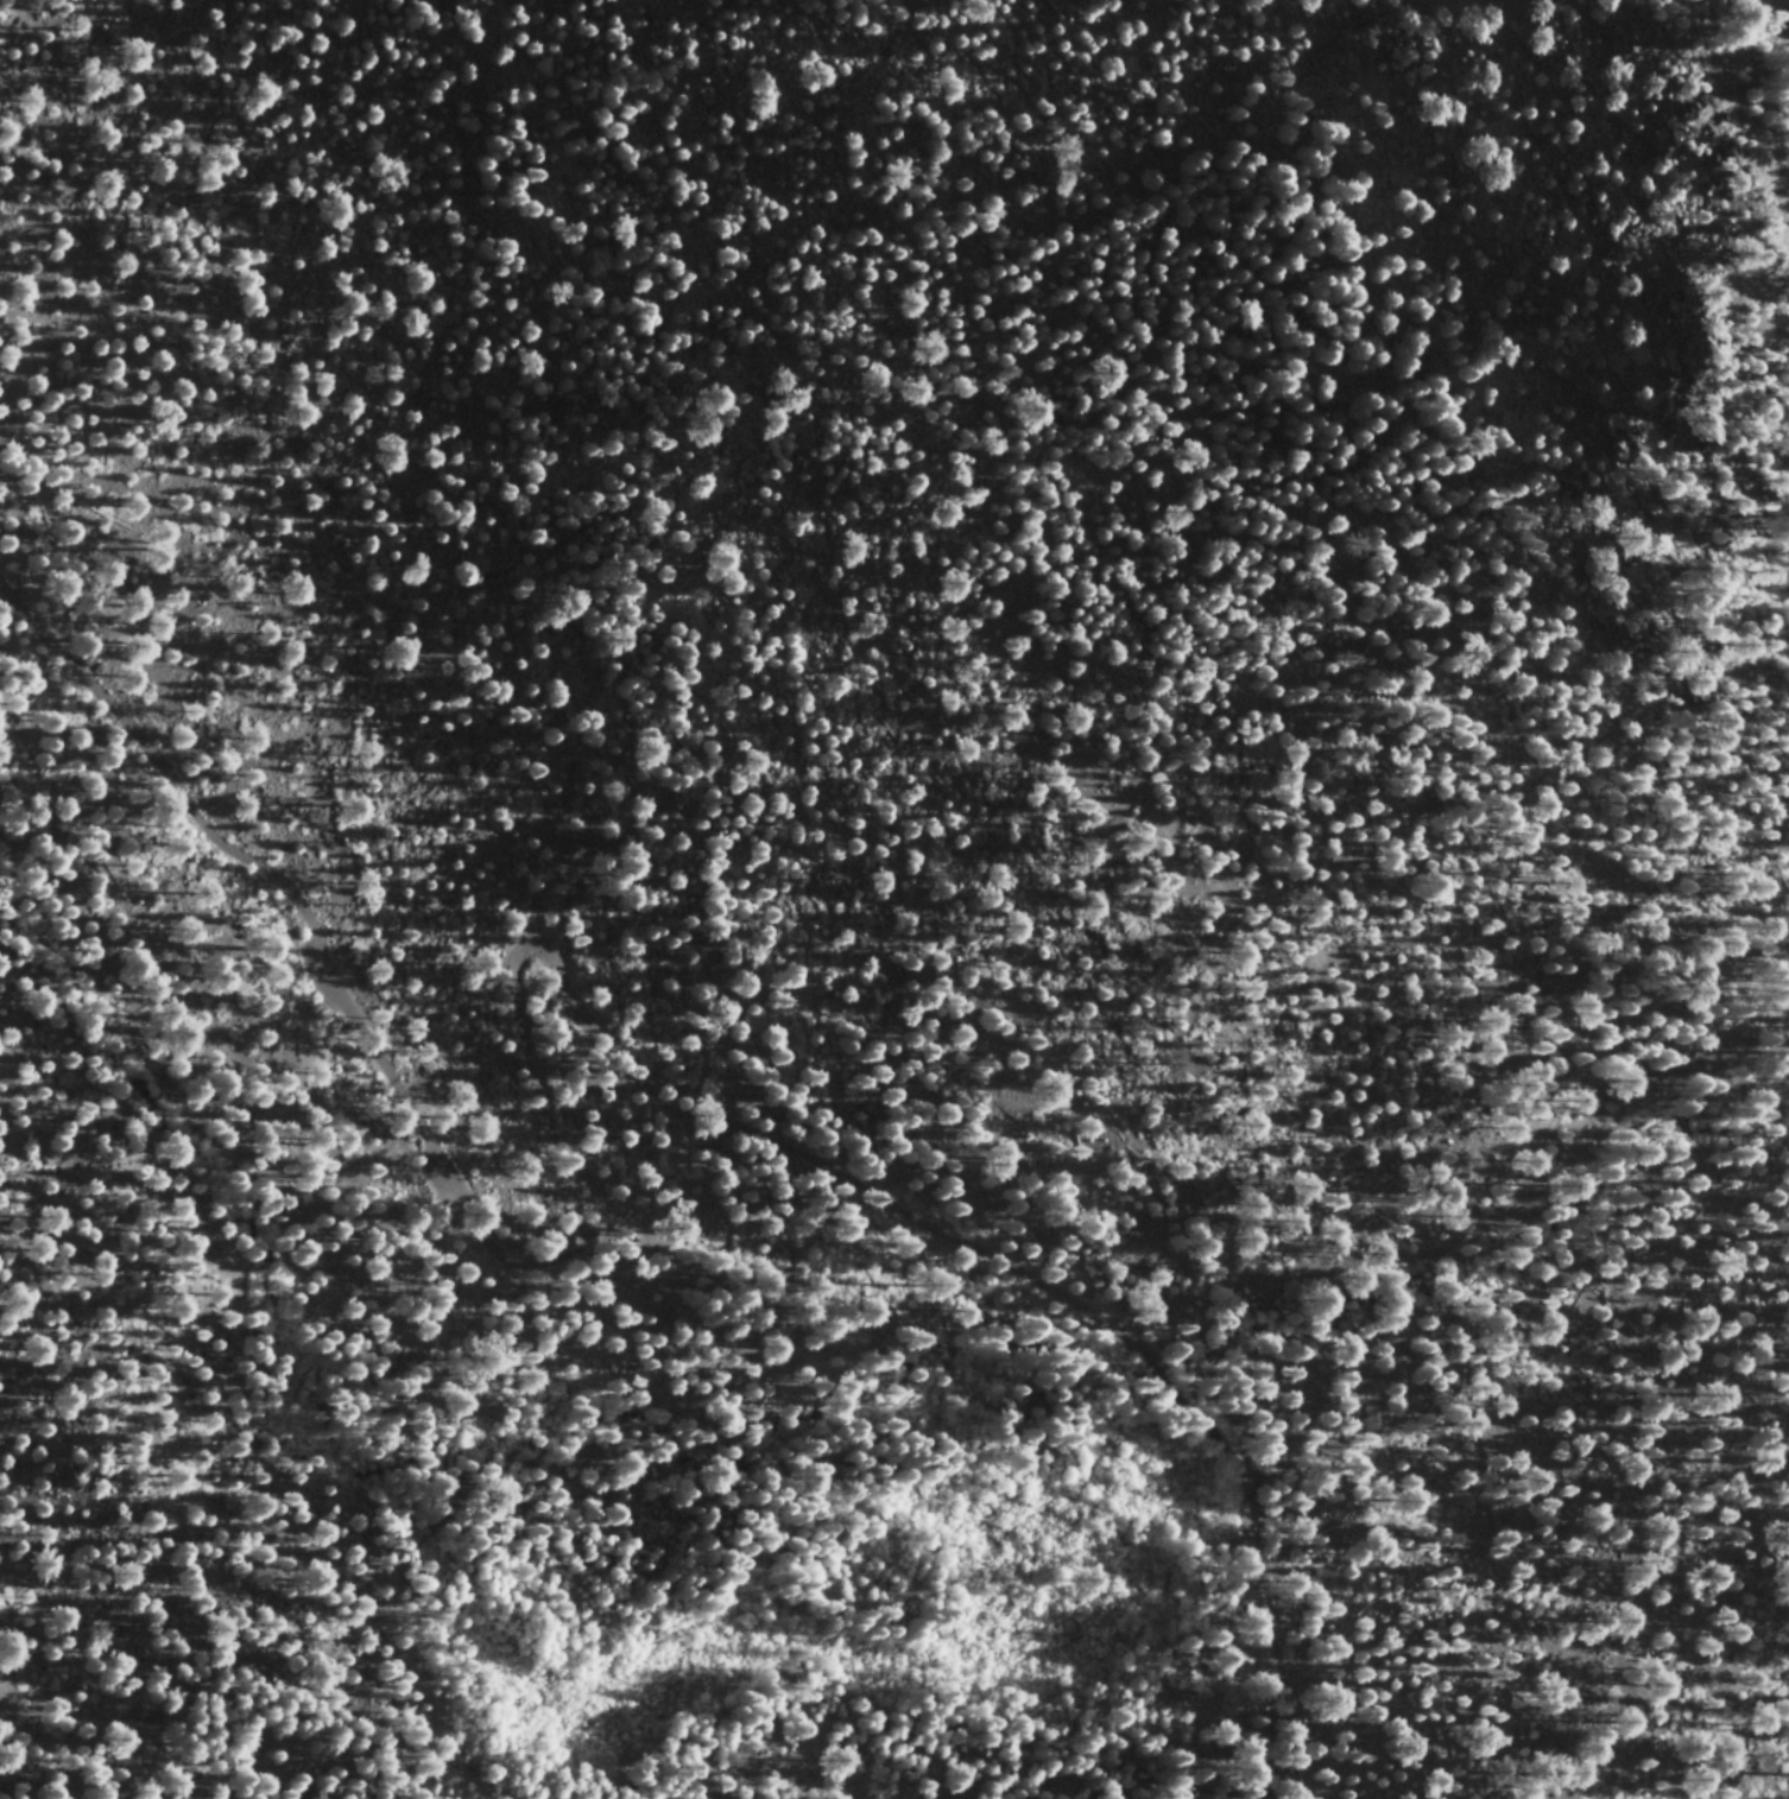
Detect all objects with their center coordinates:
road: (1404, 549)
road: (520, 952)
road: (1732, 1746)

